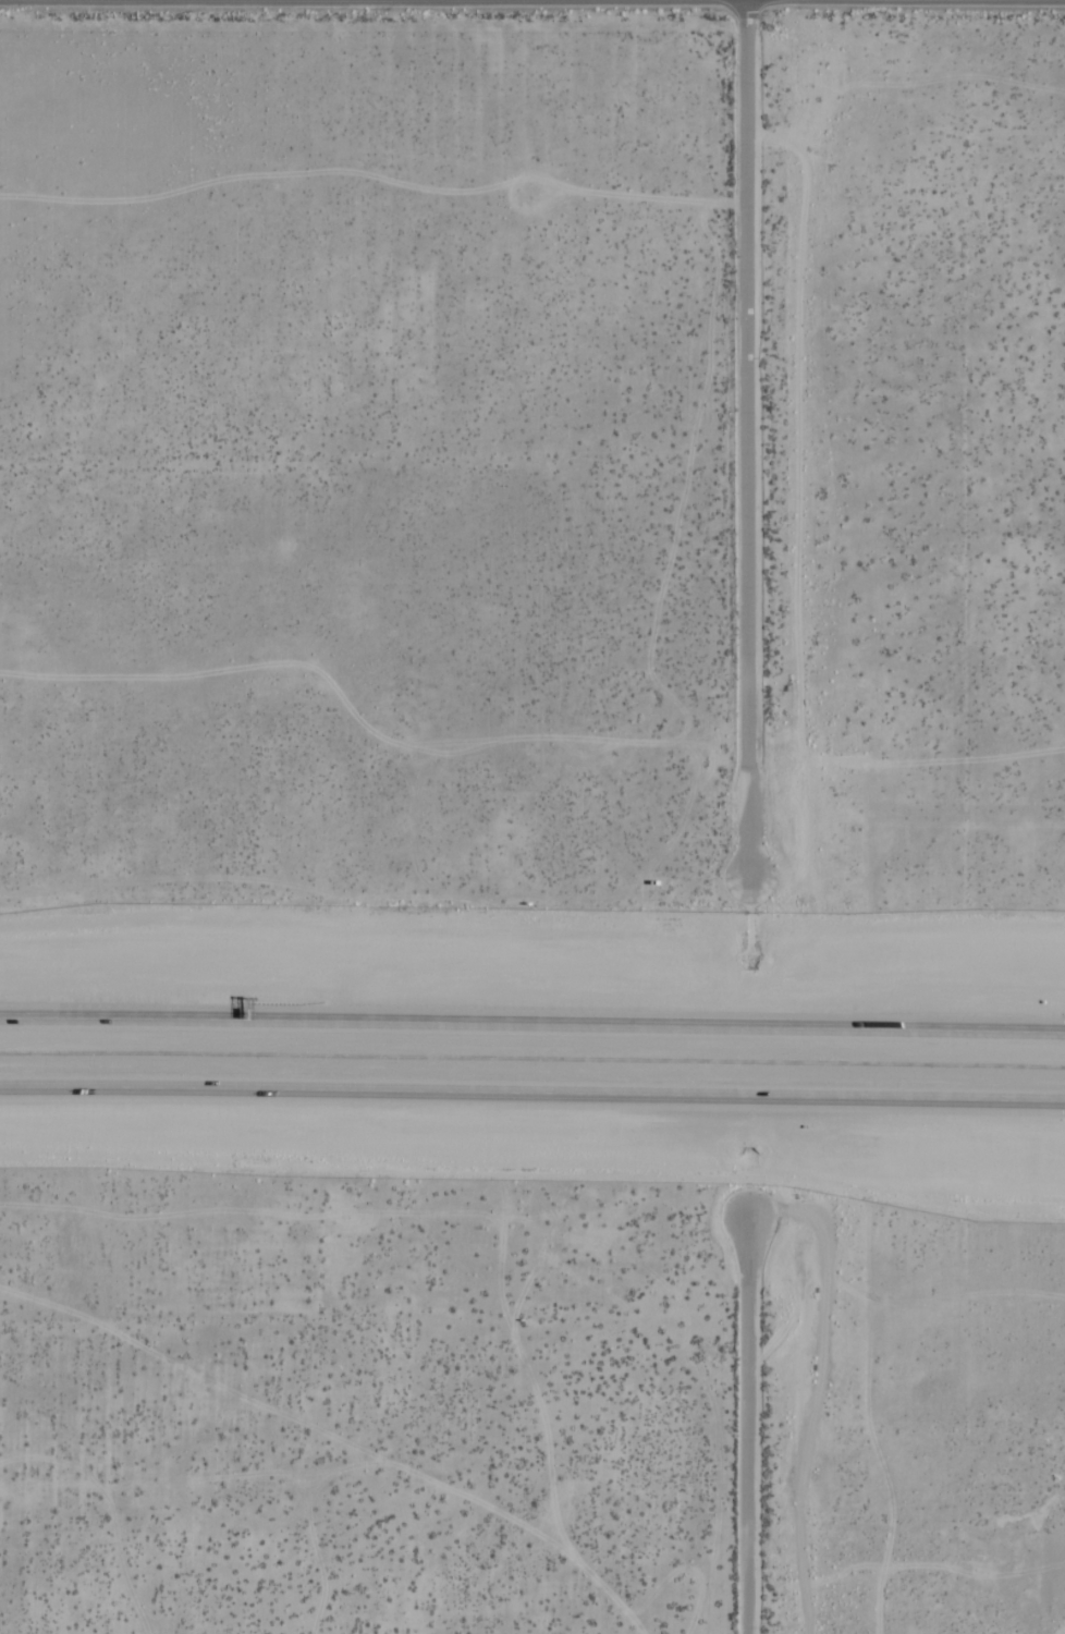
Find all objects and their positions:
road: (747, 437)
road: (532, 1025)
road: (532, 1096)
road: (750, 1424)

